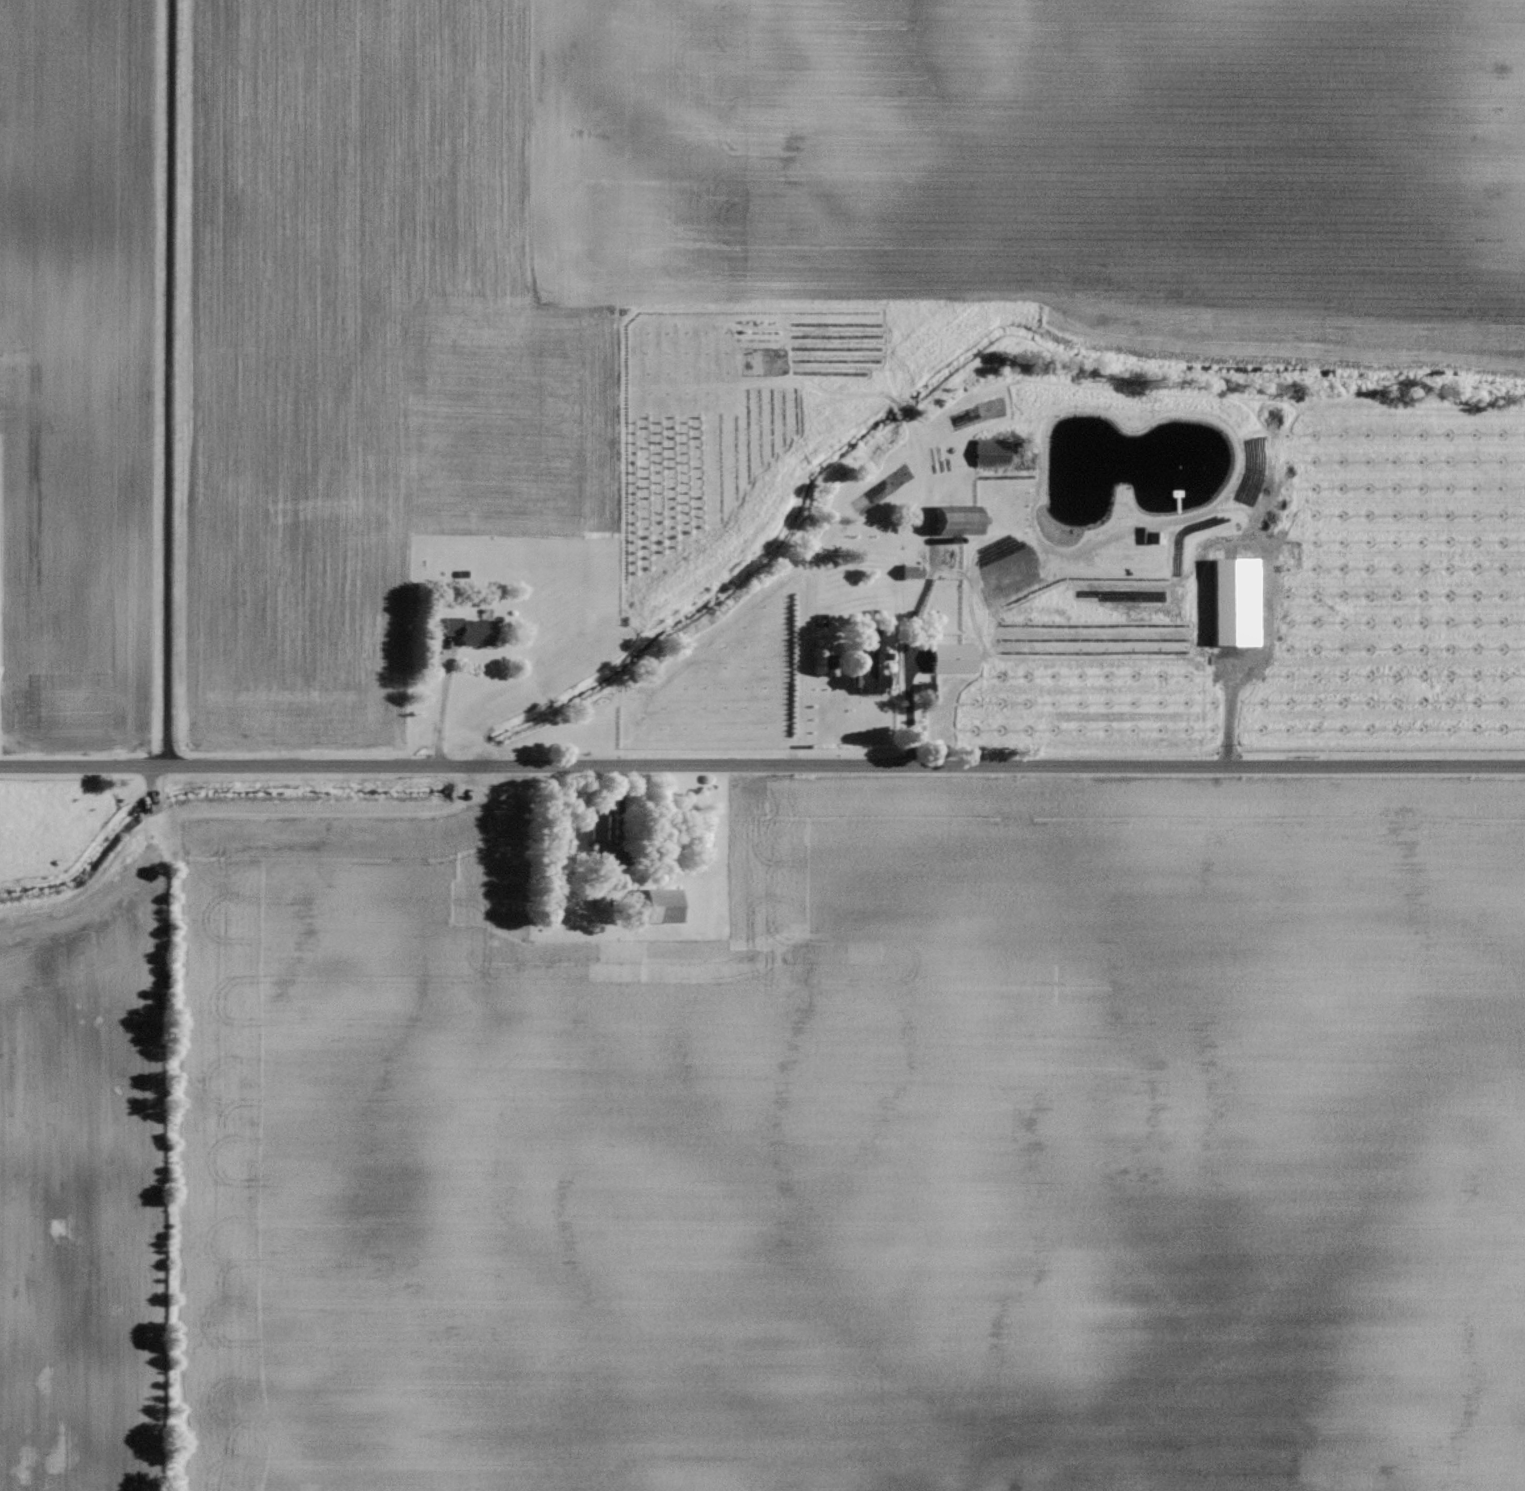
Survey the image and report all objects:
road: (170, 383)
road: (915, 470)
building: (946, 519)
building: (907, 571)
building: (1226, 601)
building: (473, 629)
building: (949, 658)
building: (862, 668)
building: (921, 687)
road: (442, 703)
road: (762, 766)
road: (620, 813)
building: (594, 834)
building: (653, 906)

